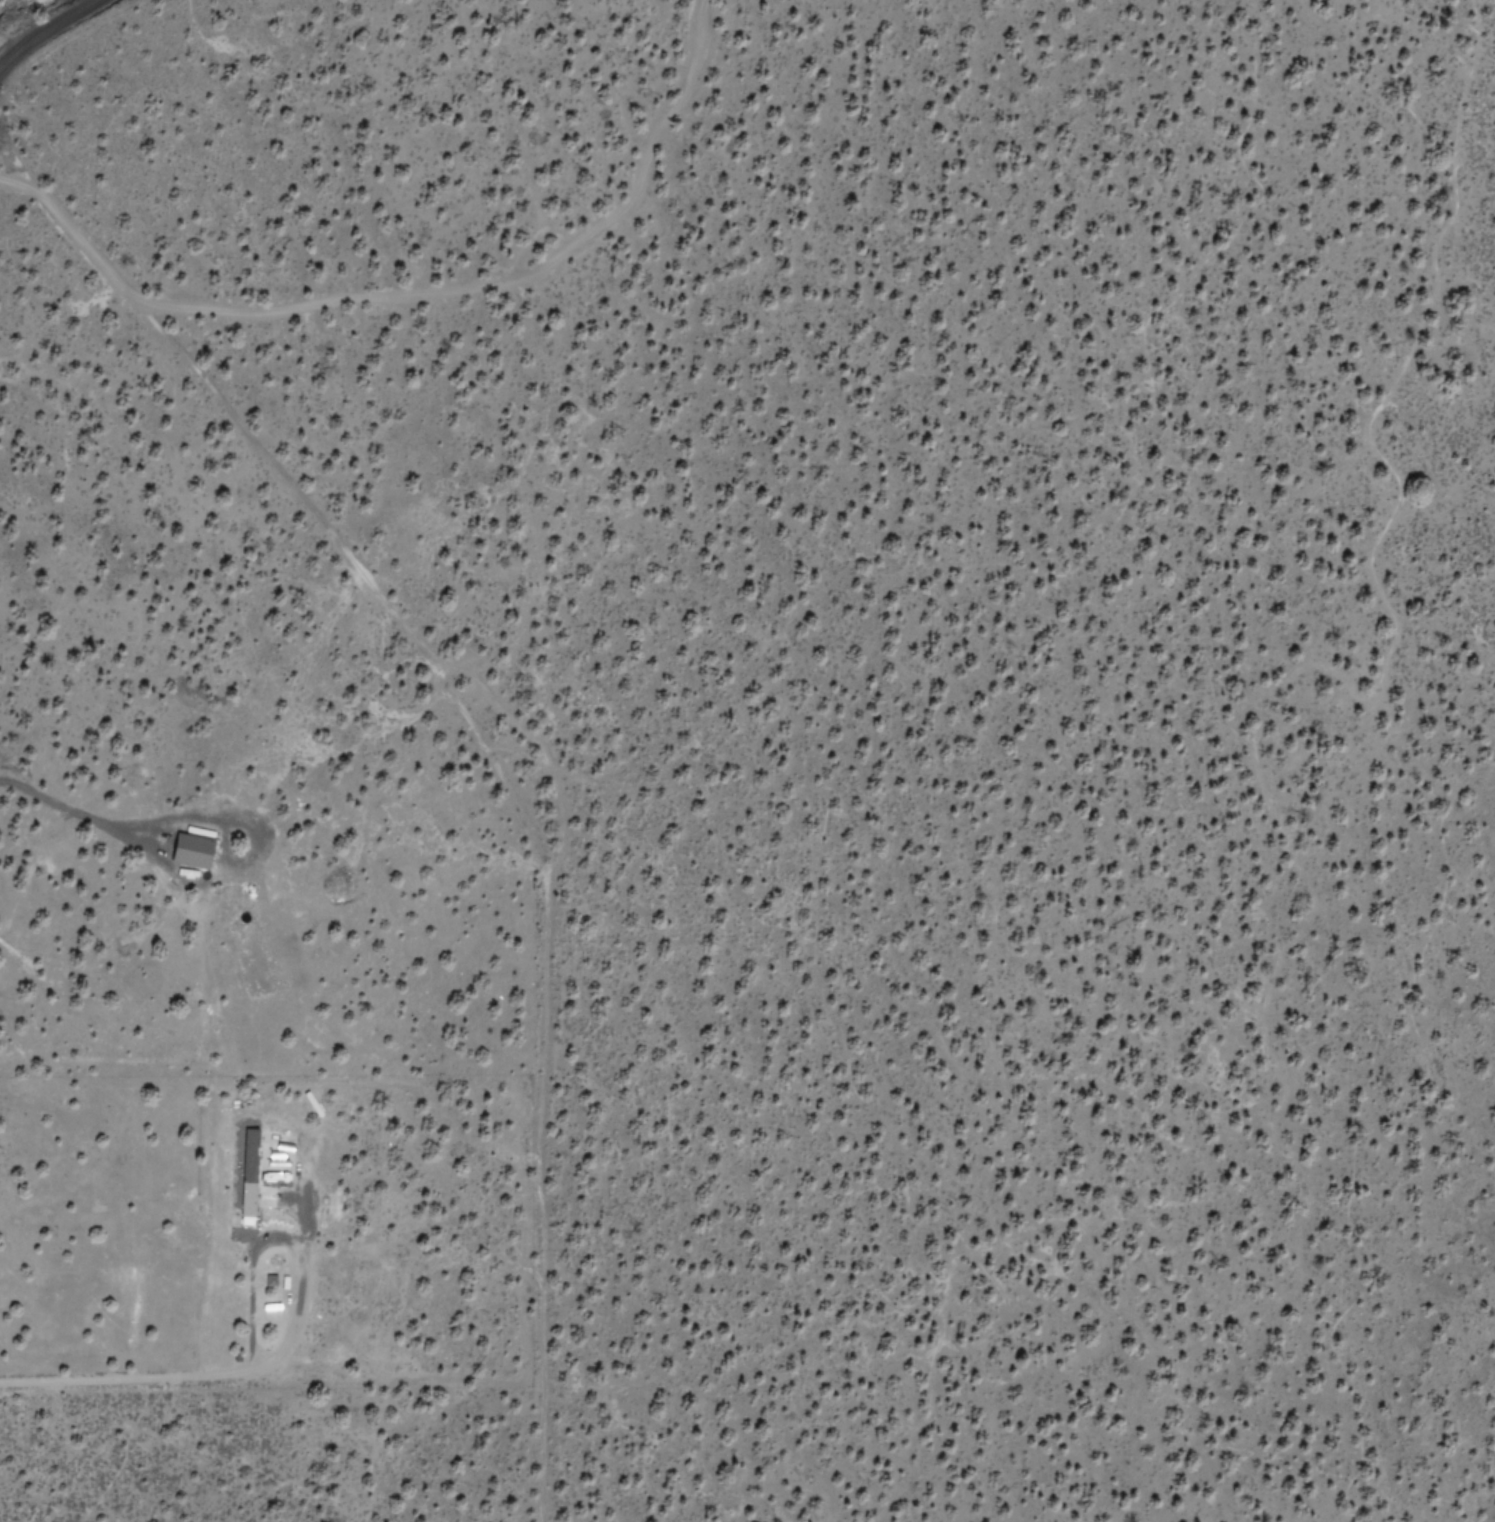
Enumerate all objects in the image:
road: (48, 33)
road: (416, 324)
building: (195, 849)
road: (477, 877)
building: (259, 1168)

